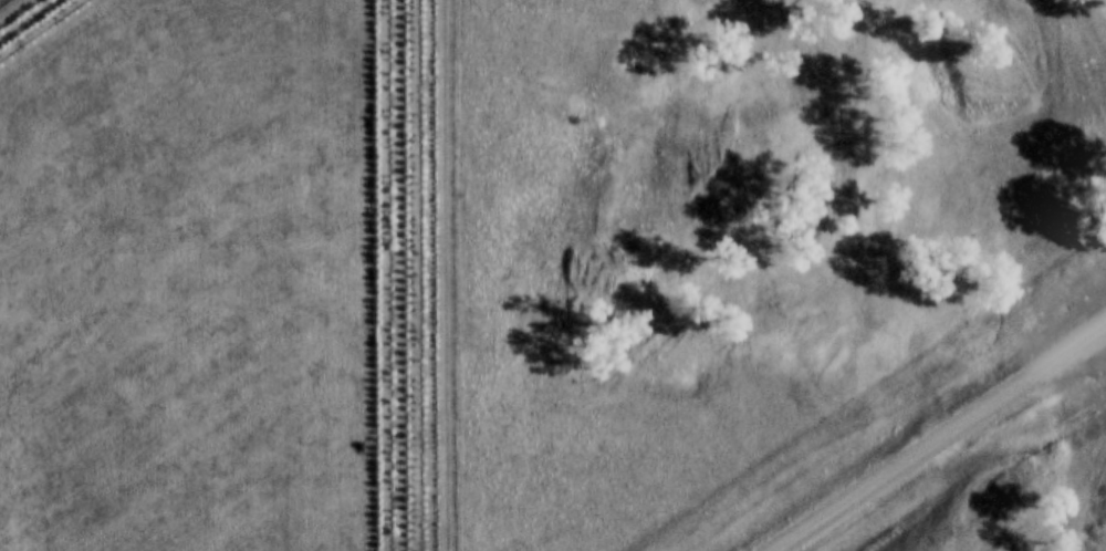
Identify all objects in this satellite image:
road: (936, 437)

